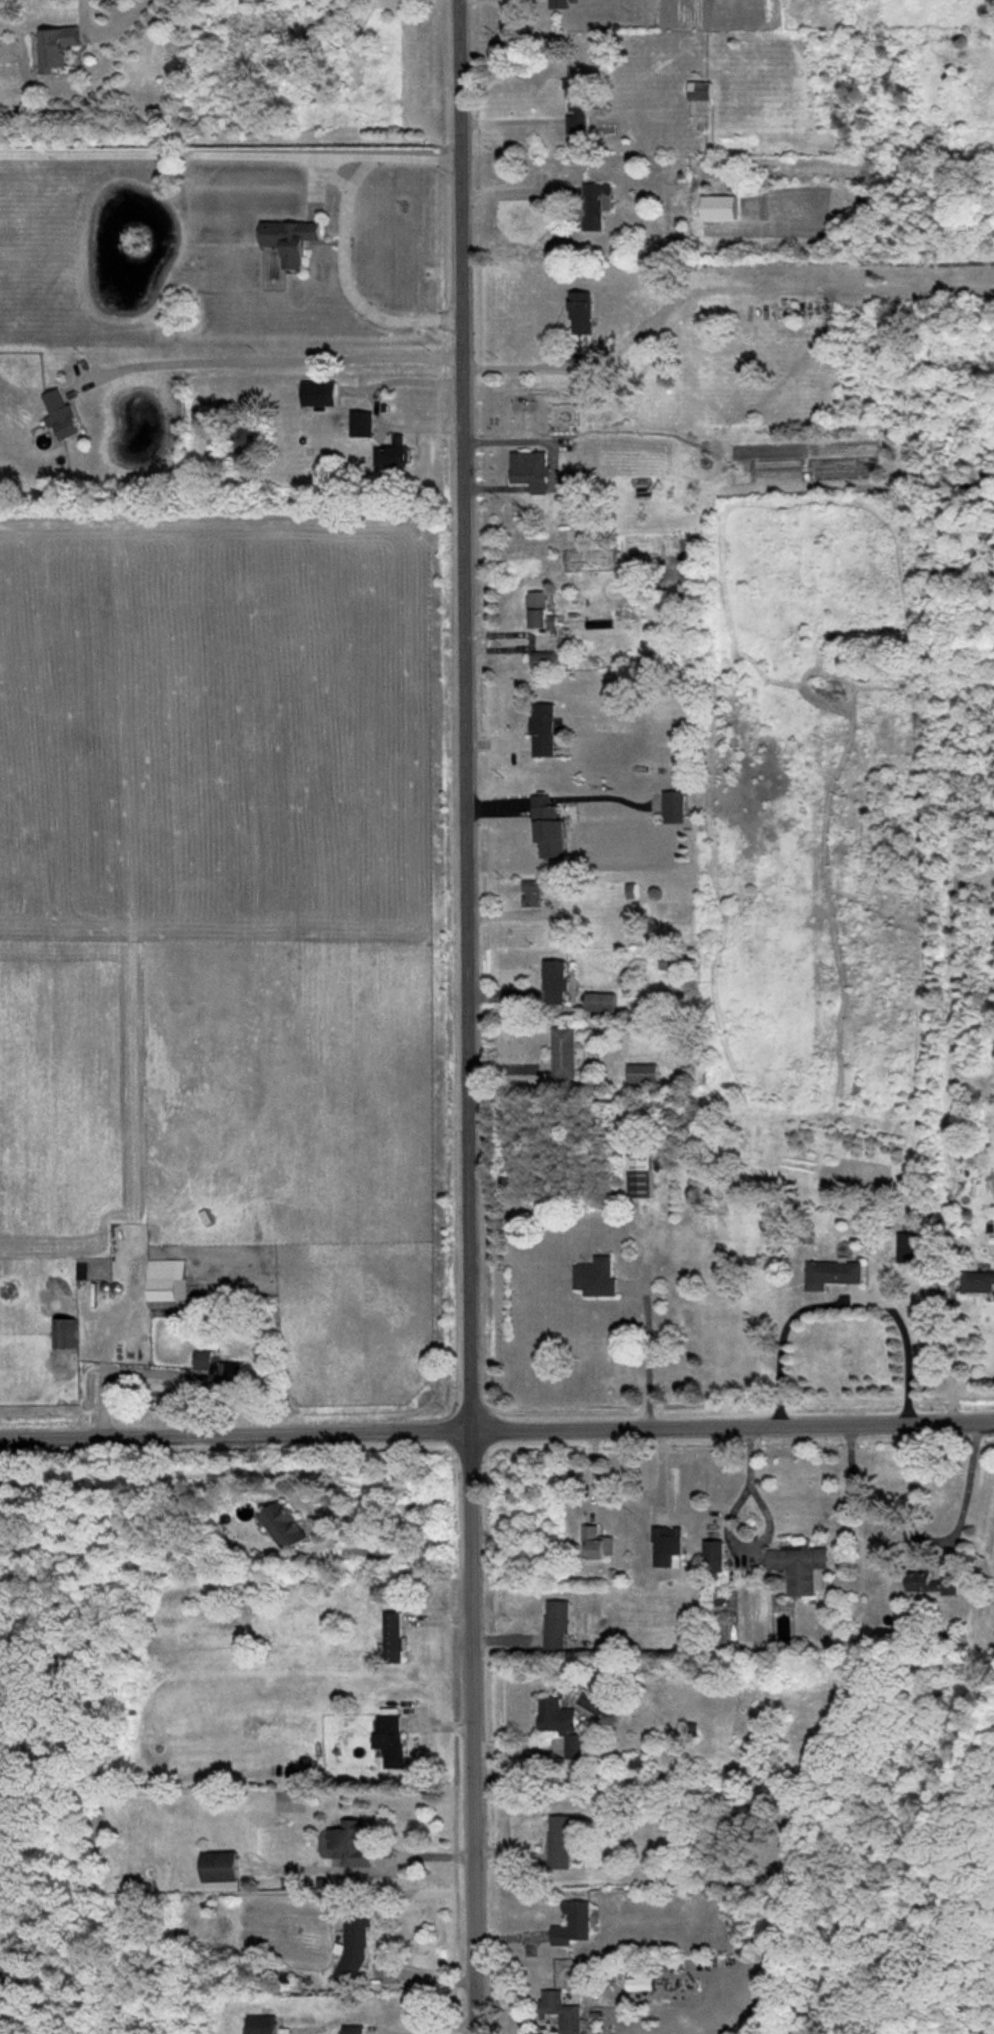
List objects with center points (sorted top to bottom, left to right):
building: (558, 4)
road: (107, 31)
building: (57, 47)
building: (700, 91)
building: (576, 107)
road: (509, 121)
road: (175, 154)
road: (515, 192)
building: (596, 205)
road: (344, 235)
building: (291, 240)
building: (582, 313)
road: (517, 367)
road: (274, 368)
building: (319, 393)
road: (377, 411)
building: (61, 414)
building: (363, 424)
building: (400, 452)
building: (843, 468)
building: (530, 469)
building: (643, 488)
building: (540, 611)
road: (533, 642)
building: (544, 661)
building: (543, 729)
building: (673, 806)
building: (549, 829)
building: (531, 894)
building: (554, 982)
building: (600, 1002)
road: (467, 1016)
building: (564, 1052)
building: (642, 1073)
building: (639, 1176)
building: (910, 1247)
building: (832, 1273)
building: (596, 1277)
building: (977, 1281)
building: (166, 1282)
road: (842, 1299)
building: (66, 1333)
road: (644, 1350)
road: (105, 1351)
building: (219, 1371)
road: (176, 1375)
road: (496, 1427)
building: (284, 1526)
road: (728, 1531)
road: (917, 1535)
building: (597, 1543)
building: (667, 1547)
building: (714, 1556)
building: (798, 1565)
building: (930, 1583)
building: (556, 1625)
building: (392, 1637)
building: (562, 1726)
building: (389, 1740)
building: (560, 1841)
building: (351, 1842)
road: (423, 1857)
building: (220, 1866)
building: (573, 1924)
building: (353, 1946)
building: (639, 1984)
building: (560, 2011)
building: (260, 2024)
building: (352, 2029)
road: (441, 2029)

